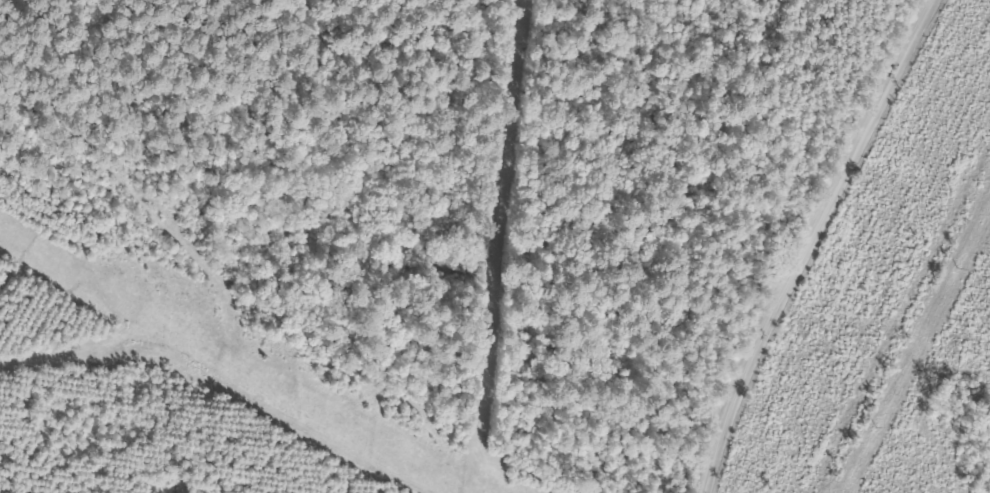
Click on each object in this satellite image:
road: (819, 242)

